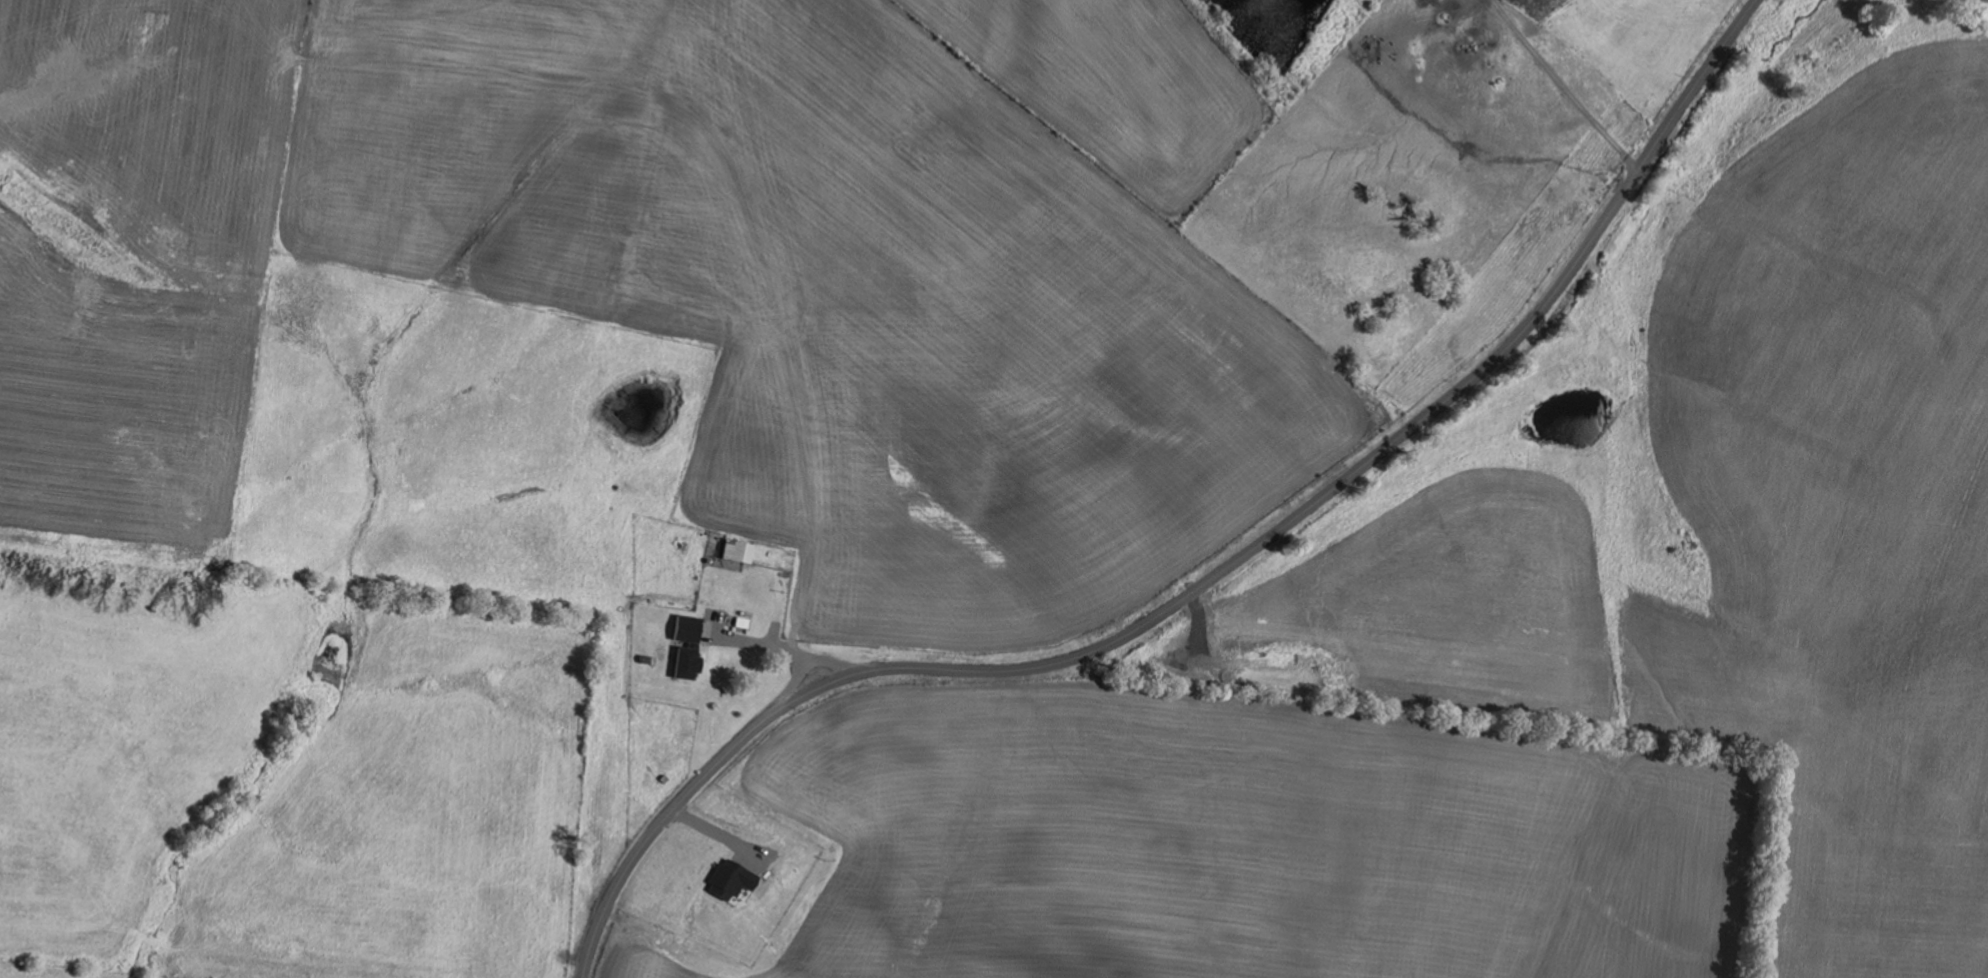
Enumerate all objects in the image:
building: (737, 550)
road: (1216, 581)
building: (686, 628)
road: (763, 644)
building: (686, 662)
road: (805, 665)
building: (729, 879)

